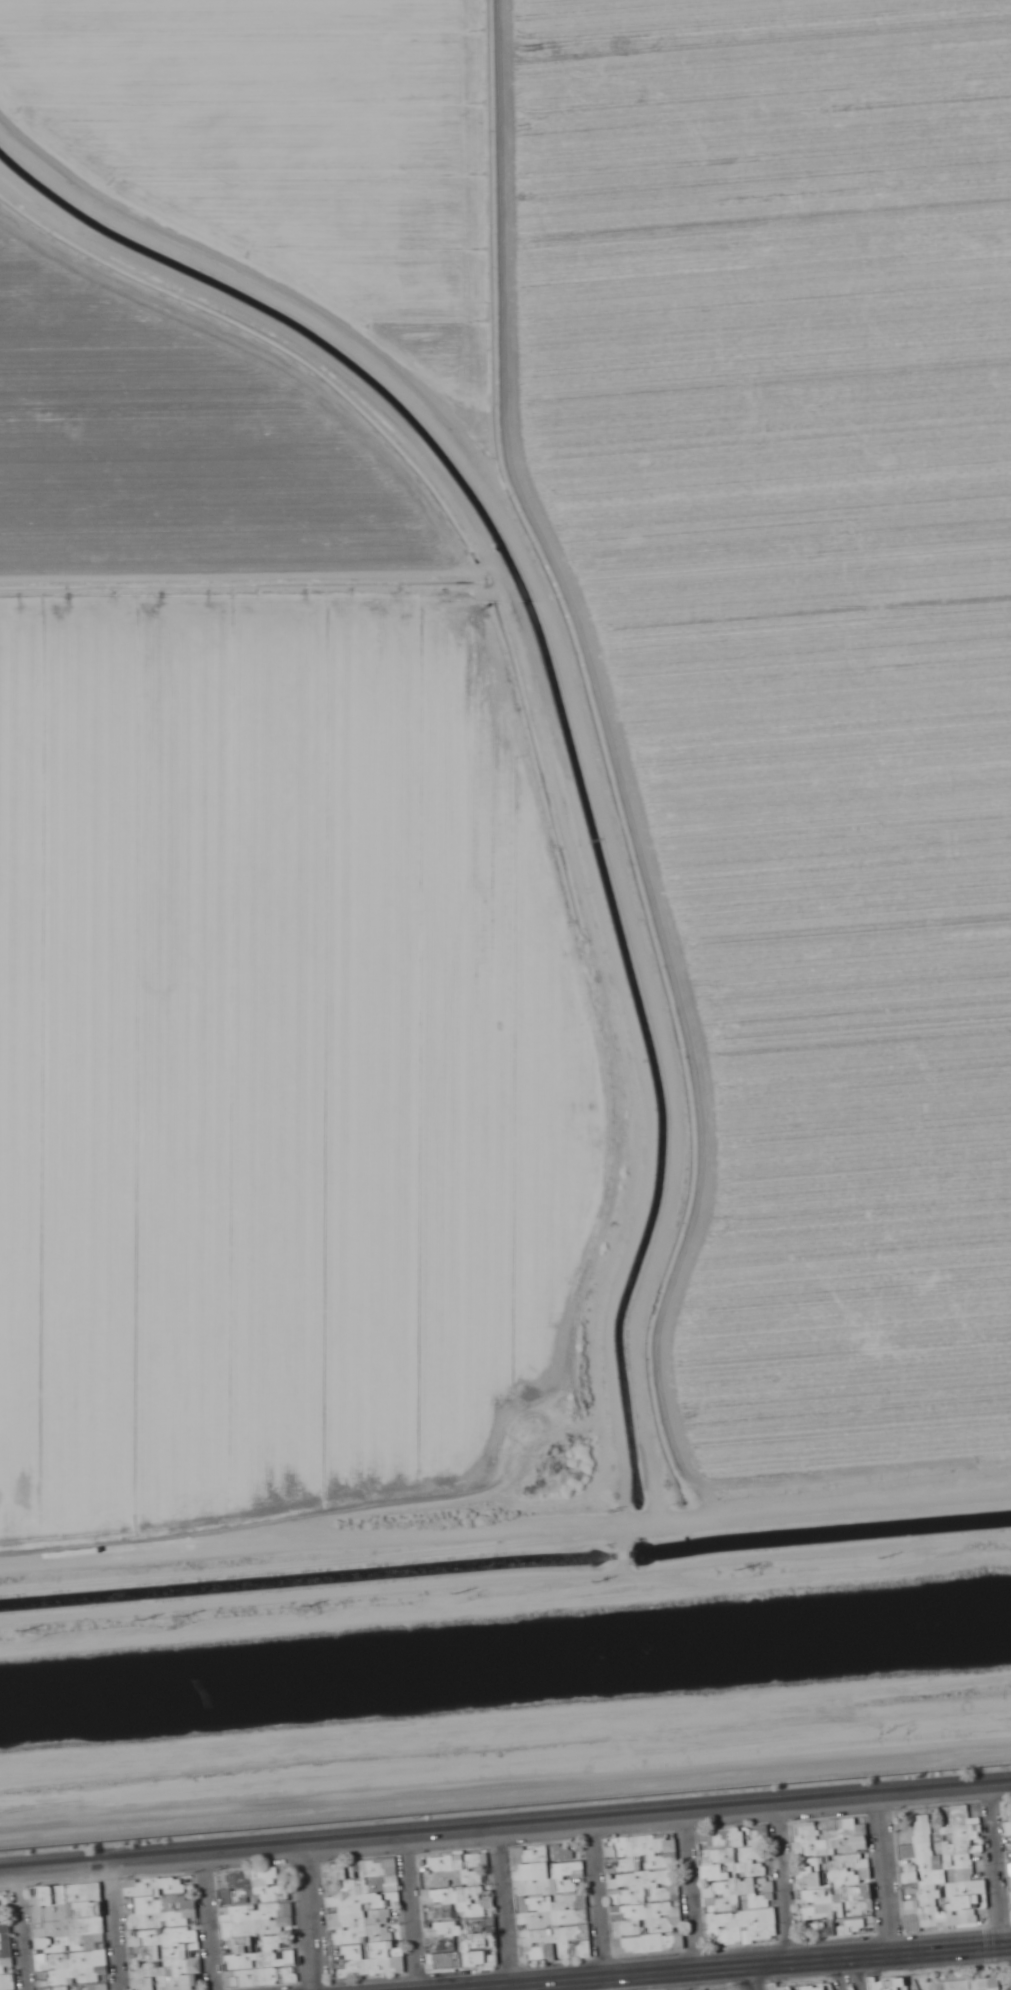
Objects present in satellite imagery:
road: (660, 1011)
road: (505, 1829)
building: (751, 1834)
building: (836, 1864)
building: (627, 1865)
road: (996, 1867)
road: (885, 1876)
building: (461, 1882)
building: (910, 1882)
road: (785, 1884)
building: (708, 1891)
road: (692, 1892)
building: (981, 1893)
road: (599, 1900)
road: (506, 1908)
road: (415, 1914)
building: (913, 1915)
road: (310, 1918)
road: (208, 1922)
road: (114, 1926)
road: (23, 1929)
building: (634, 1934)
building: (679, 1940)
building: (243, 1945)
building: (463, 1954)
road: (738, 1967)
road: (856, 1974)
road: (837, 1975)
road: (745, 1978)
building: (890, 1984)
building: (971, 1984)

